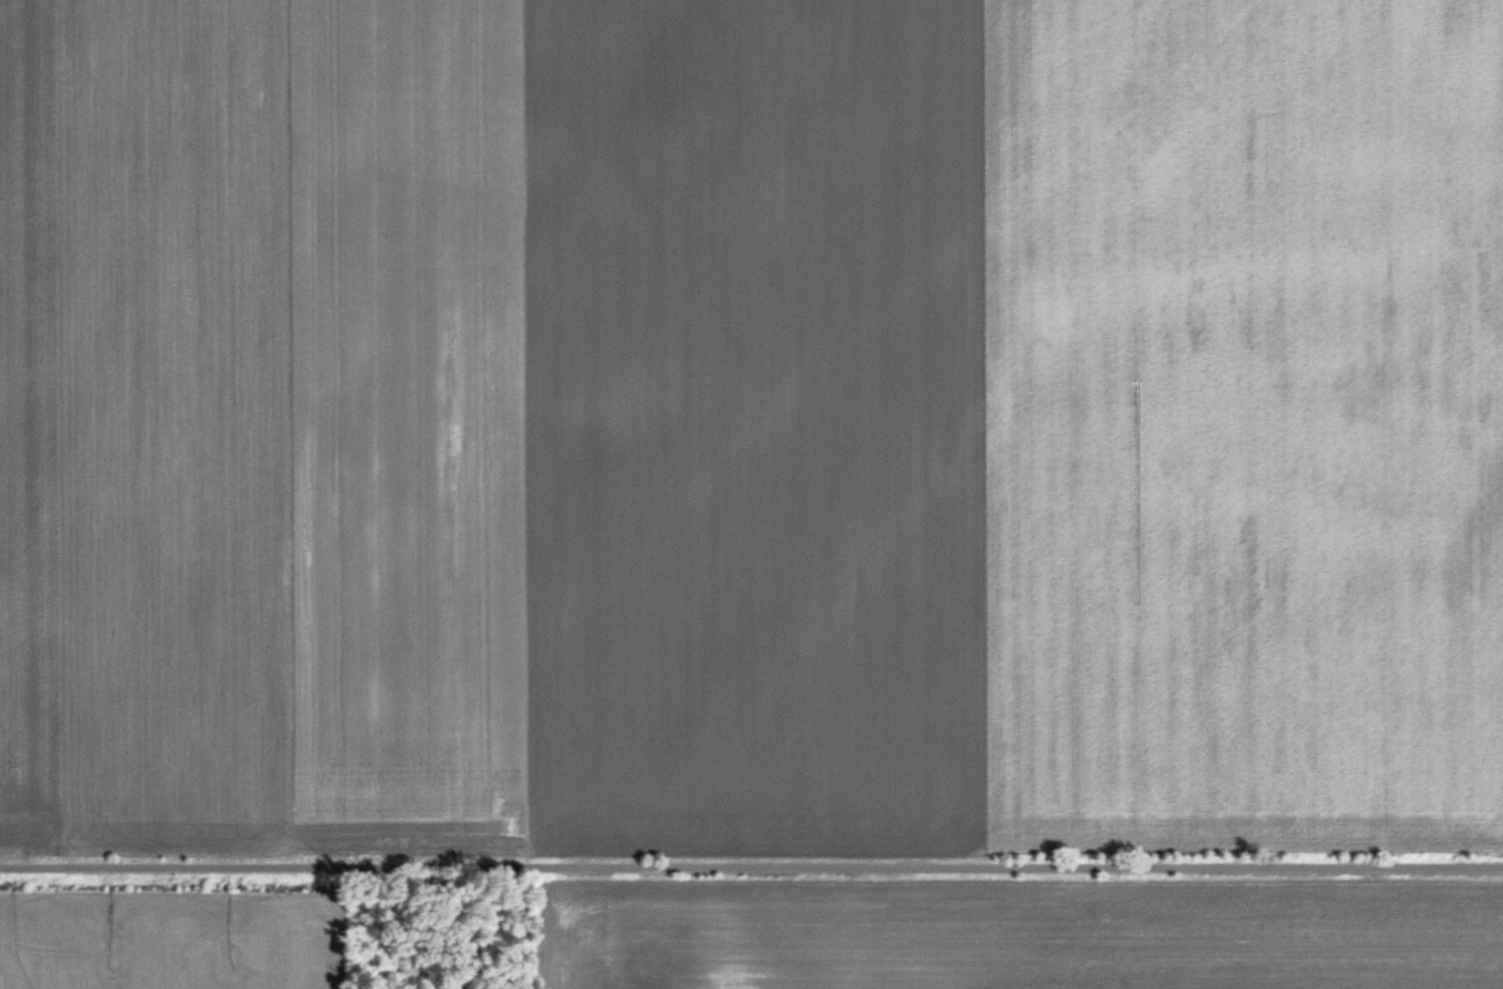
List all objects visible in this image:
road: (751, 866)

